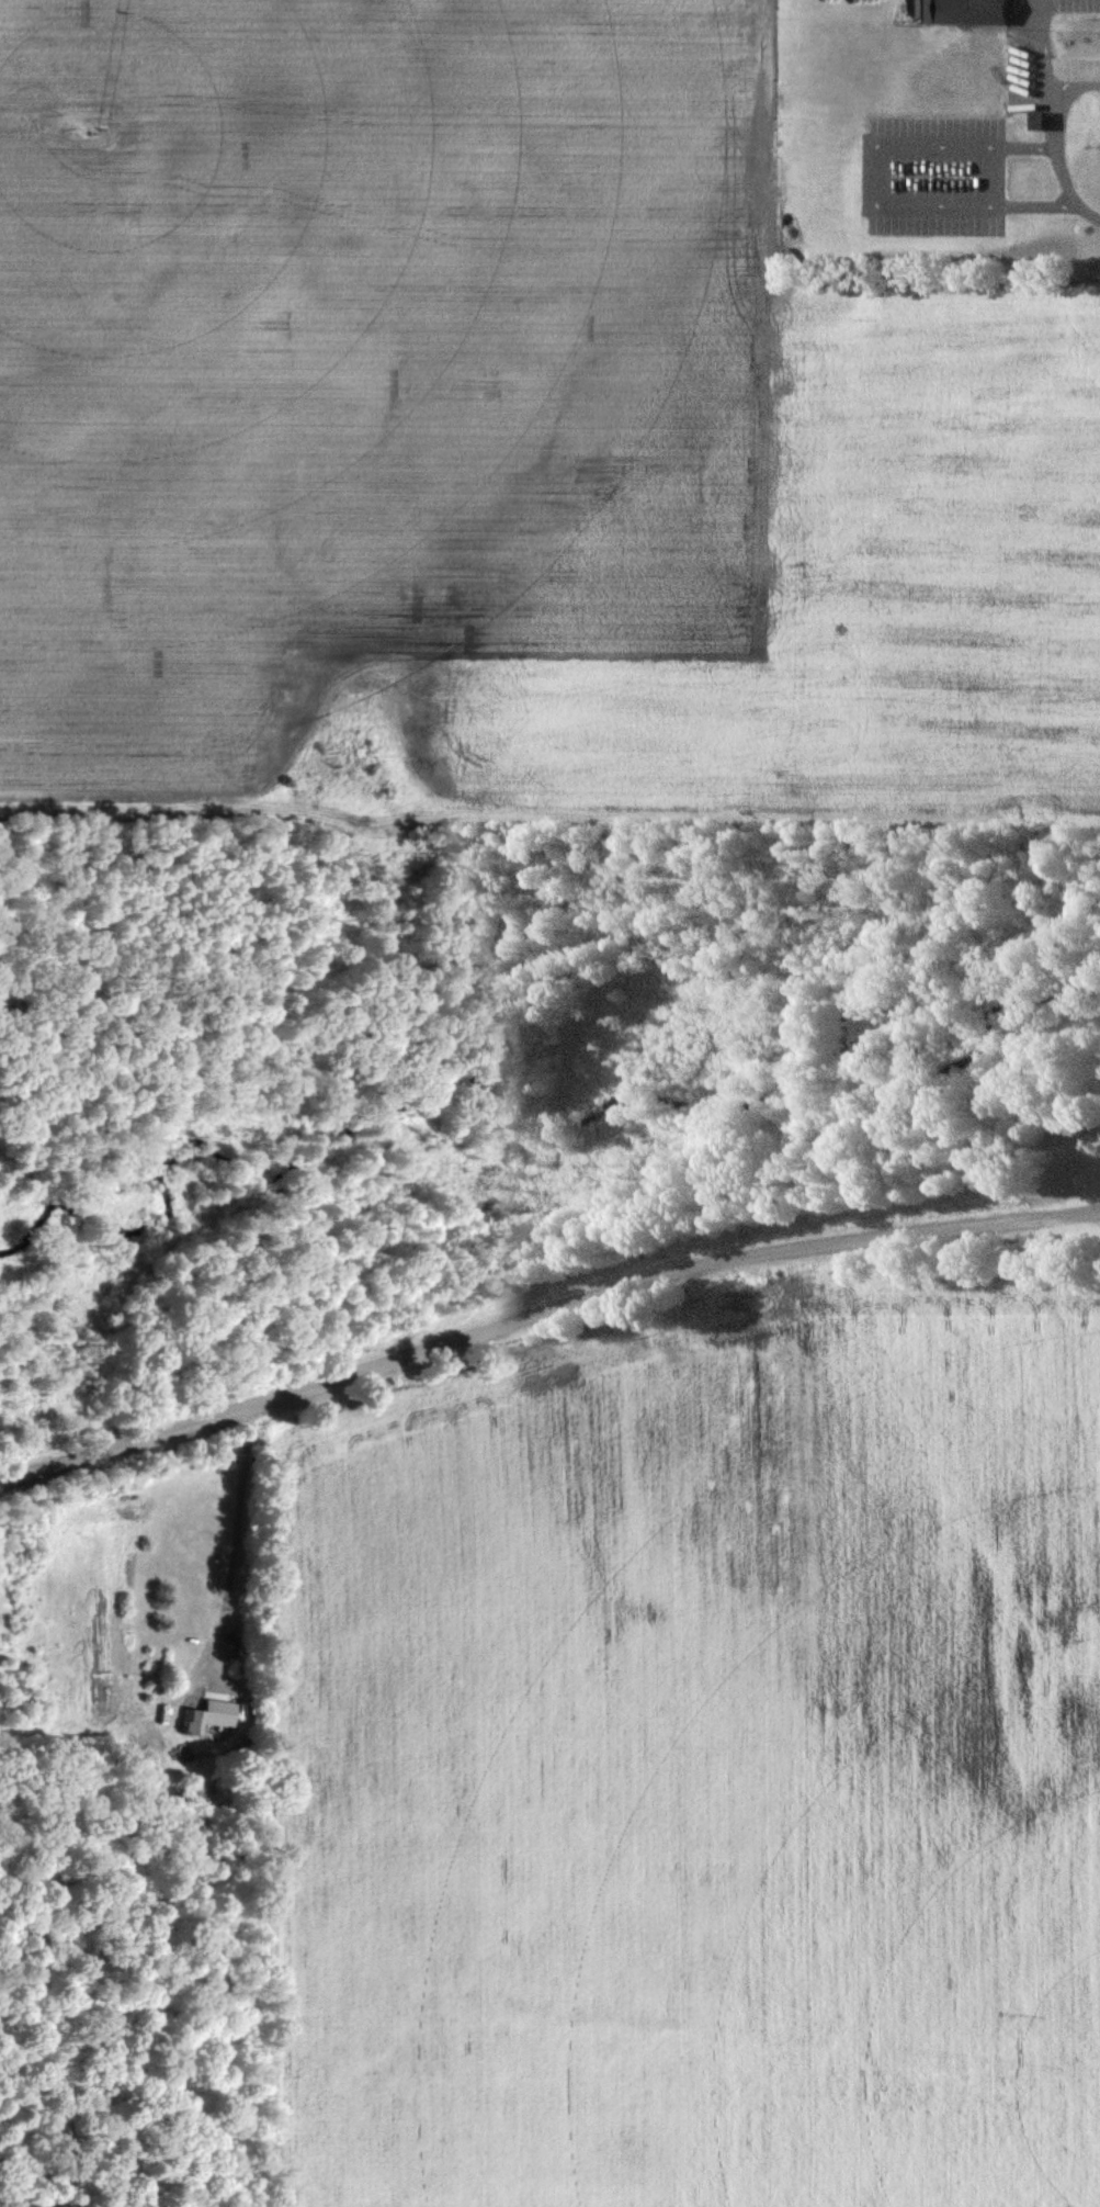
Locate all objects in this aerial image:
building: (961, 12)
road: (1074, 83)
road: (1054, 116)
building: (1096, 1126)
road: (543, 1314)
road: (225, 1553)
building: (185, 1723)

